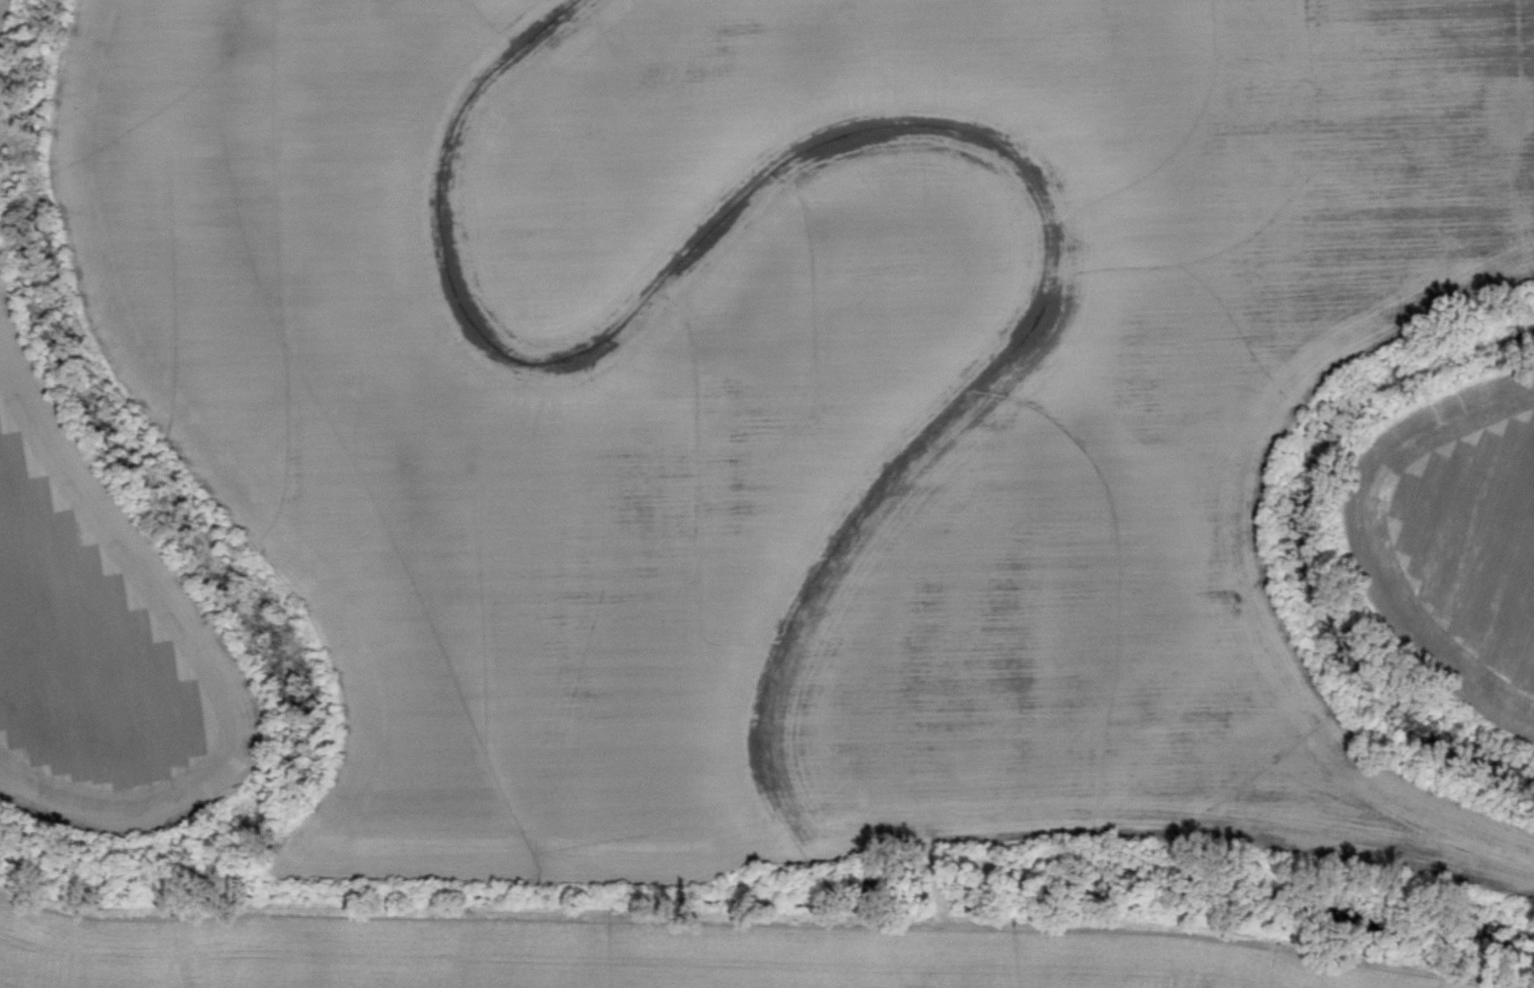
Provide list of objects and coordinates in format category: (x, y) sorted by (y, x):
road: (708, 936)

